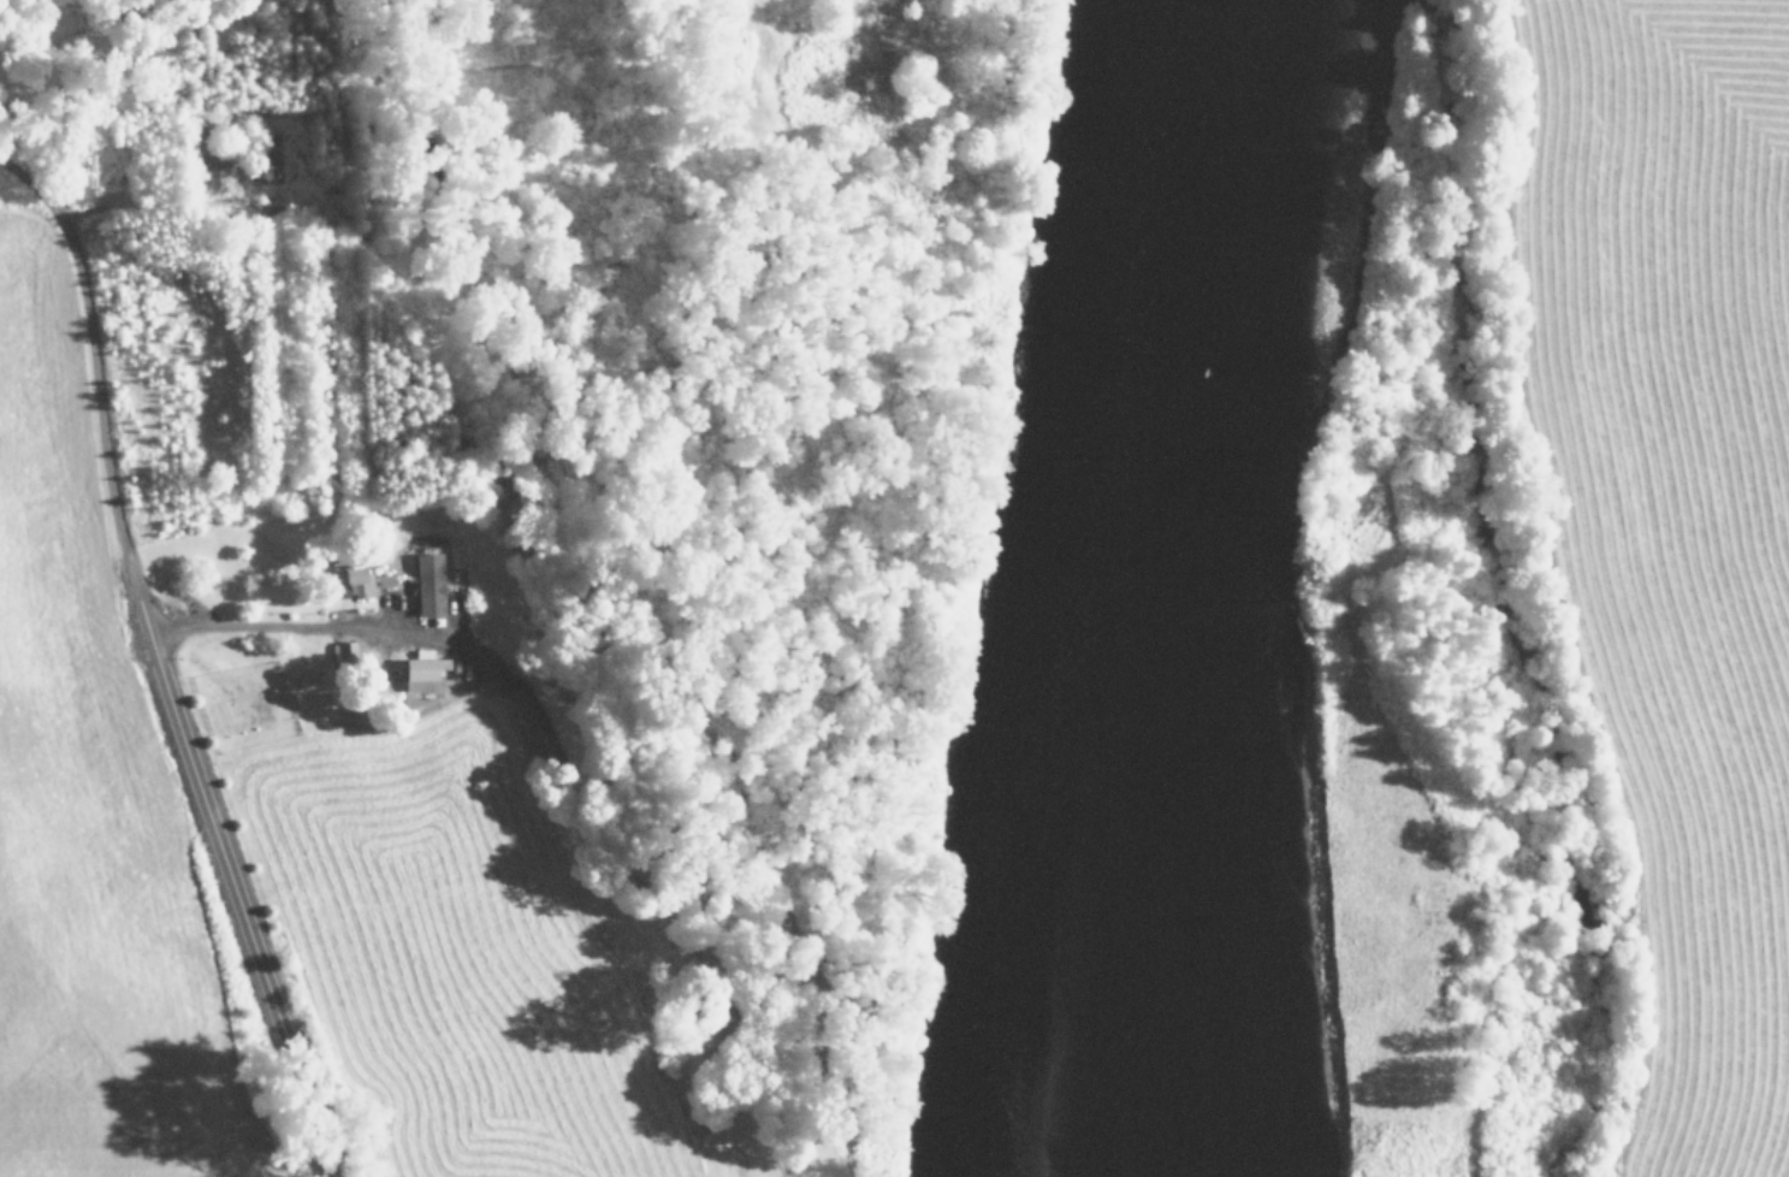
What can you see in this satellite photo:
crop: (1666, 519)
building: (385, 580)
building: (357, 581)
building: (430, 585)
river: (1141, 586)
building: (345, 651)
road: (159, 662)
building: (421, 675)
crop: (268, 901)

